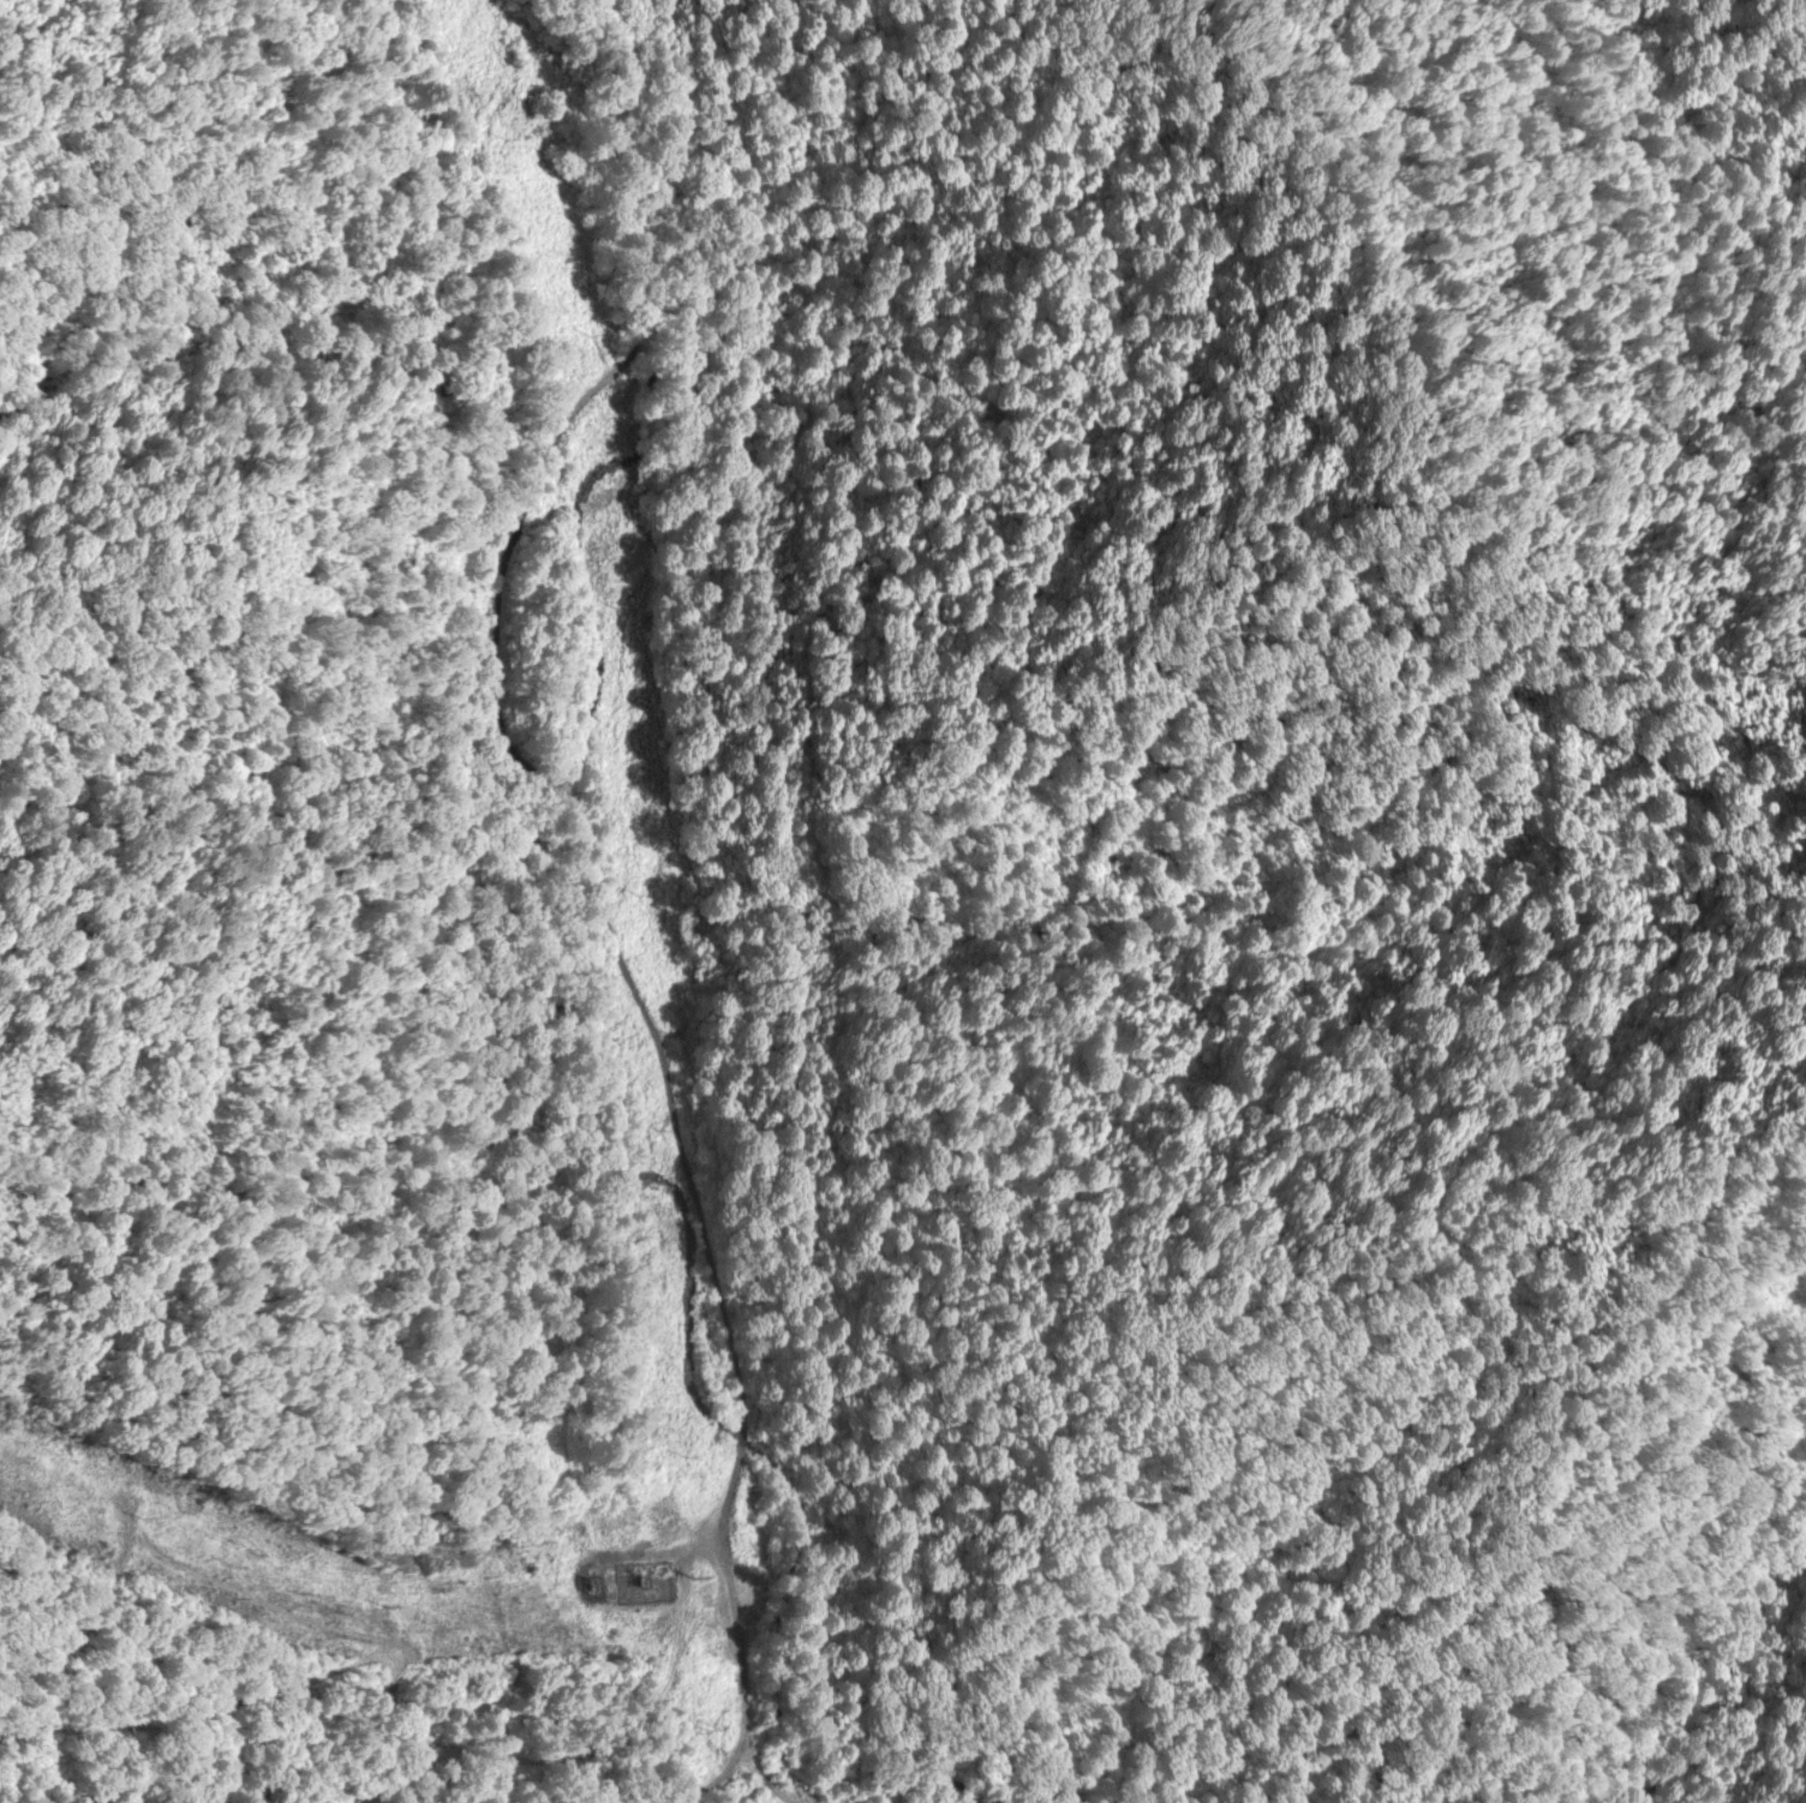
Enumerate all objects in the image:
building: (1798, 1353)

